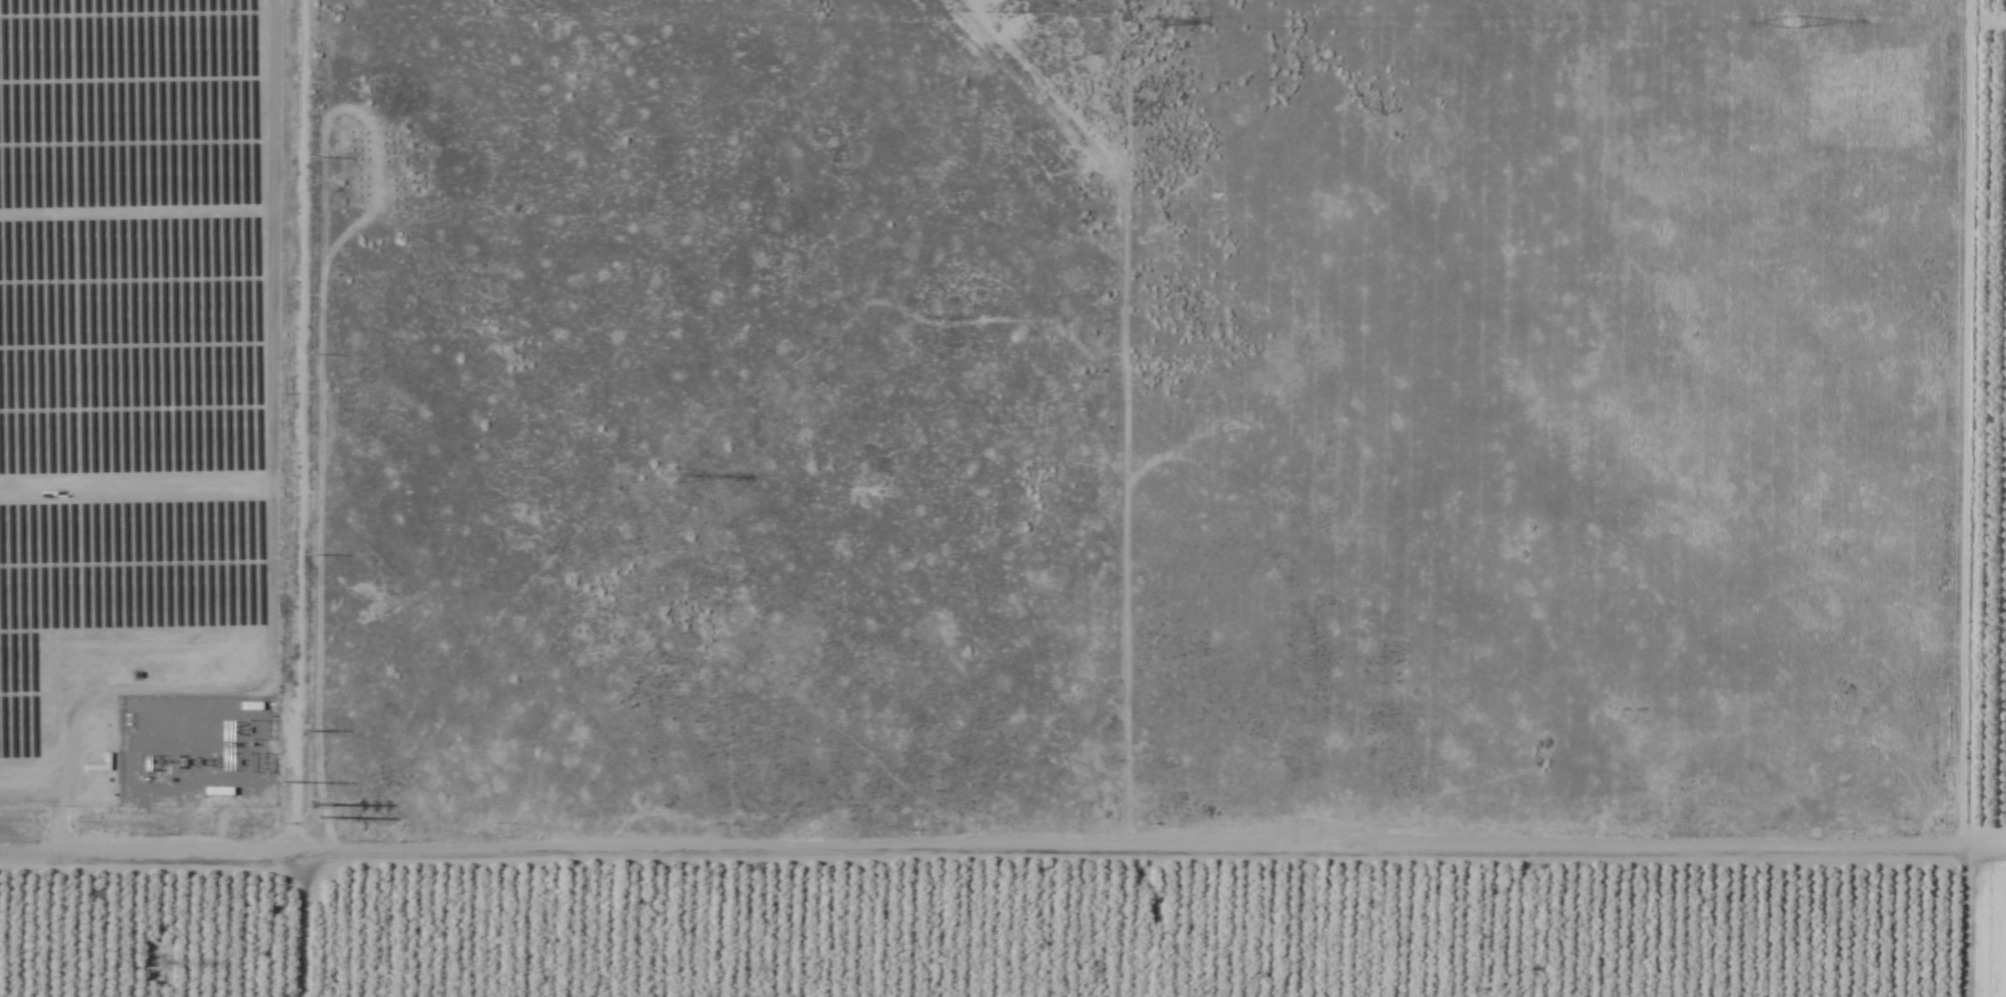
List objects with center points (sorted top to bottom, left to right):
solar farm: (134, 370)
power substation: (194, 749)
road: (1002, 843)
road: (311, 920)
crop: (1982, 927)

